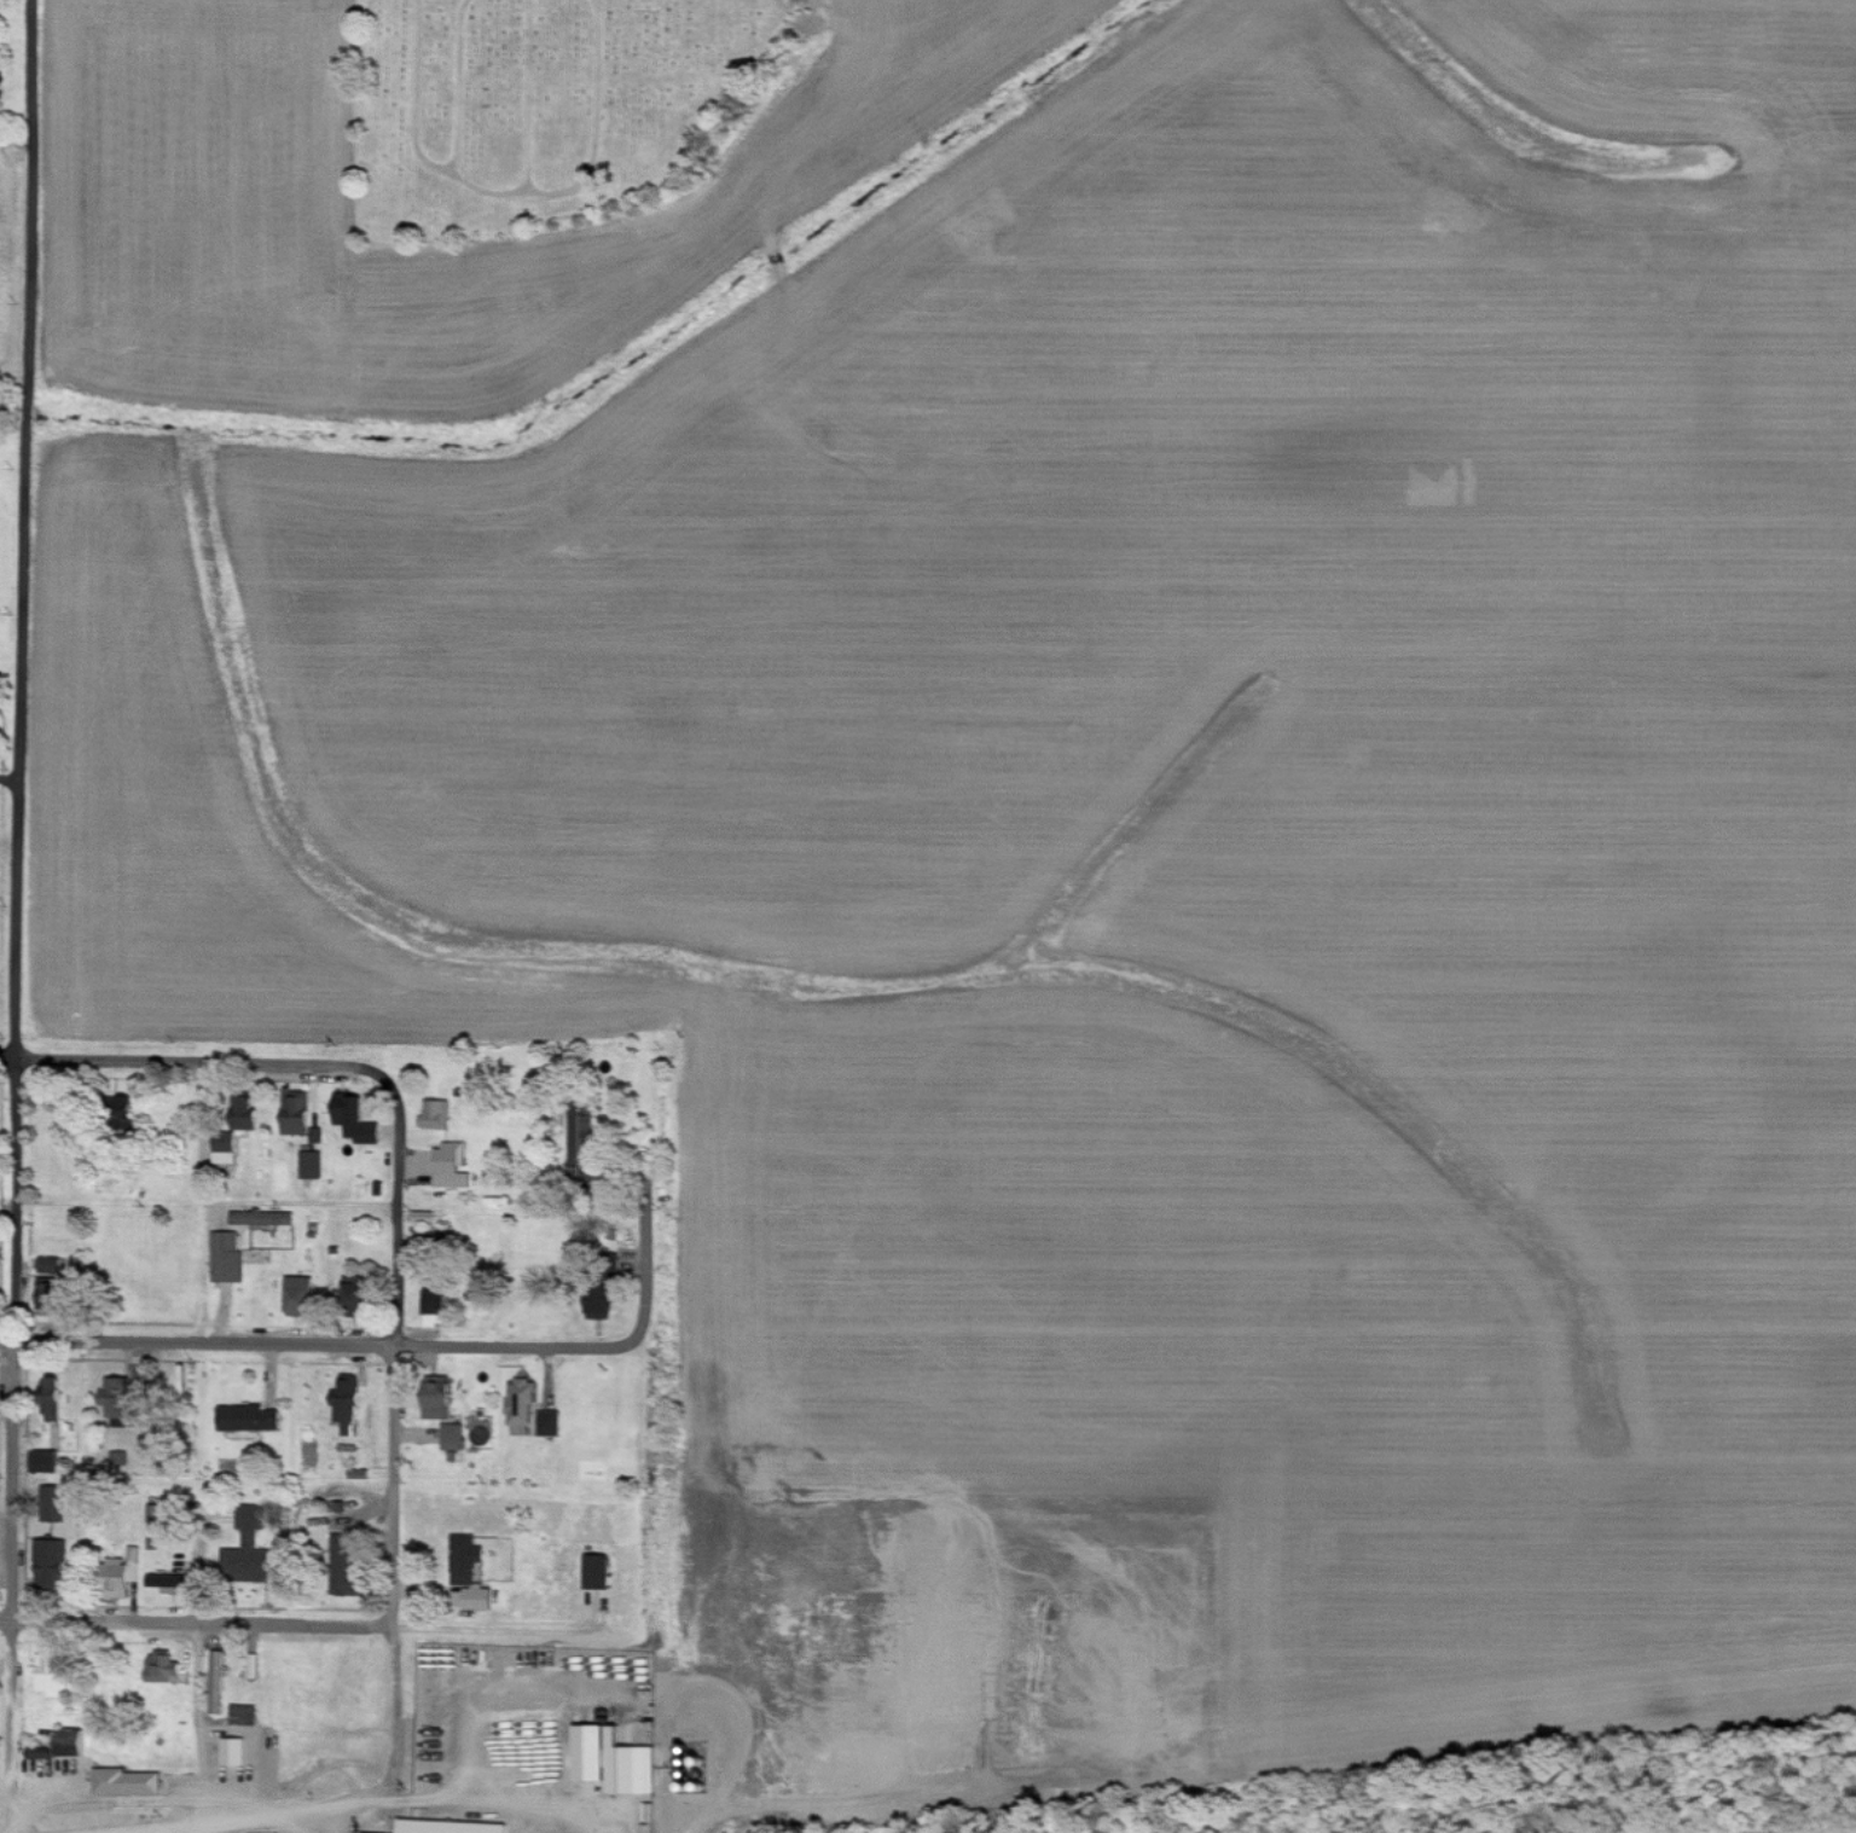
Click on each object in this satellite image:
park: (555, 109)
road: (7, 506)
road: (2, 788)
road: (195, 1066)
building: (437, 1114)
building: (298, 1116)
building: (358, 1119)
building: (237, 1131)
building: (584, 1143)
building: (451, 1159)
building: (313, 1165)
road: (234, 1201)
building: (425, 1217)
building: (265, 1218)
building: (228, 1258)
building: (52, 1265)
road: (643, 1283)
building: (358, 1288)
building: (302, 1295)
building: (56, 1297)
building: (442, 1303)
building: (604, 1305)
road: (315, 1346)
building: (56, 1400)
building: (121, 1402)
building: (442, 1402)
building: (523, 1403)
building: (348, 1404)
building: (251, 1419)
building: (549, 1423)
building: (453, 1437)
road: (393, 1448)
road: (13, 1456)
building: (121, 1457)
building: (50, 1462)
building: (54, 1503)
building: (250, 1549)
building: (466, 1559)
building: (52, 1562)
building: (349, 1566)
building: (598, 1572)
building: (124, 1580)
building: (167, 1583)
building: (480, 1599)
road: (300, 1626)
building: (254, 1666)
building: (164, 1667)
building: (56, 1677)
building: (219, 1682)
building: (244, 1713)
road: (203, 1728)
road: (741, 1736)
building: (74, 1742)
building: (42, 1752)
building: (237, 1752)
building: (617, 1761)
building: (129, 1782)
road: (489, 1797)
road: (261, 1819)
road: (319, 1821)
building: (454, 1827)

